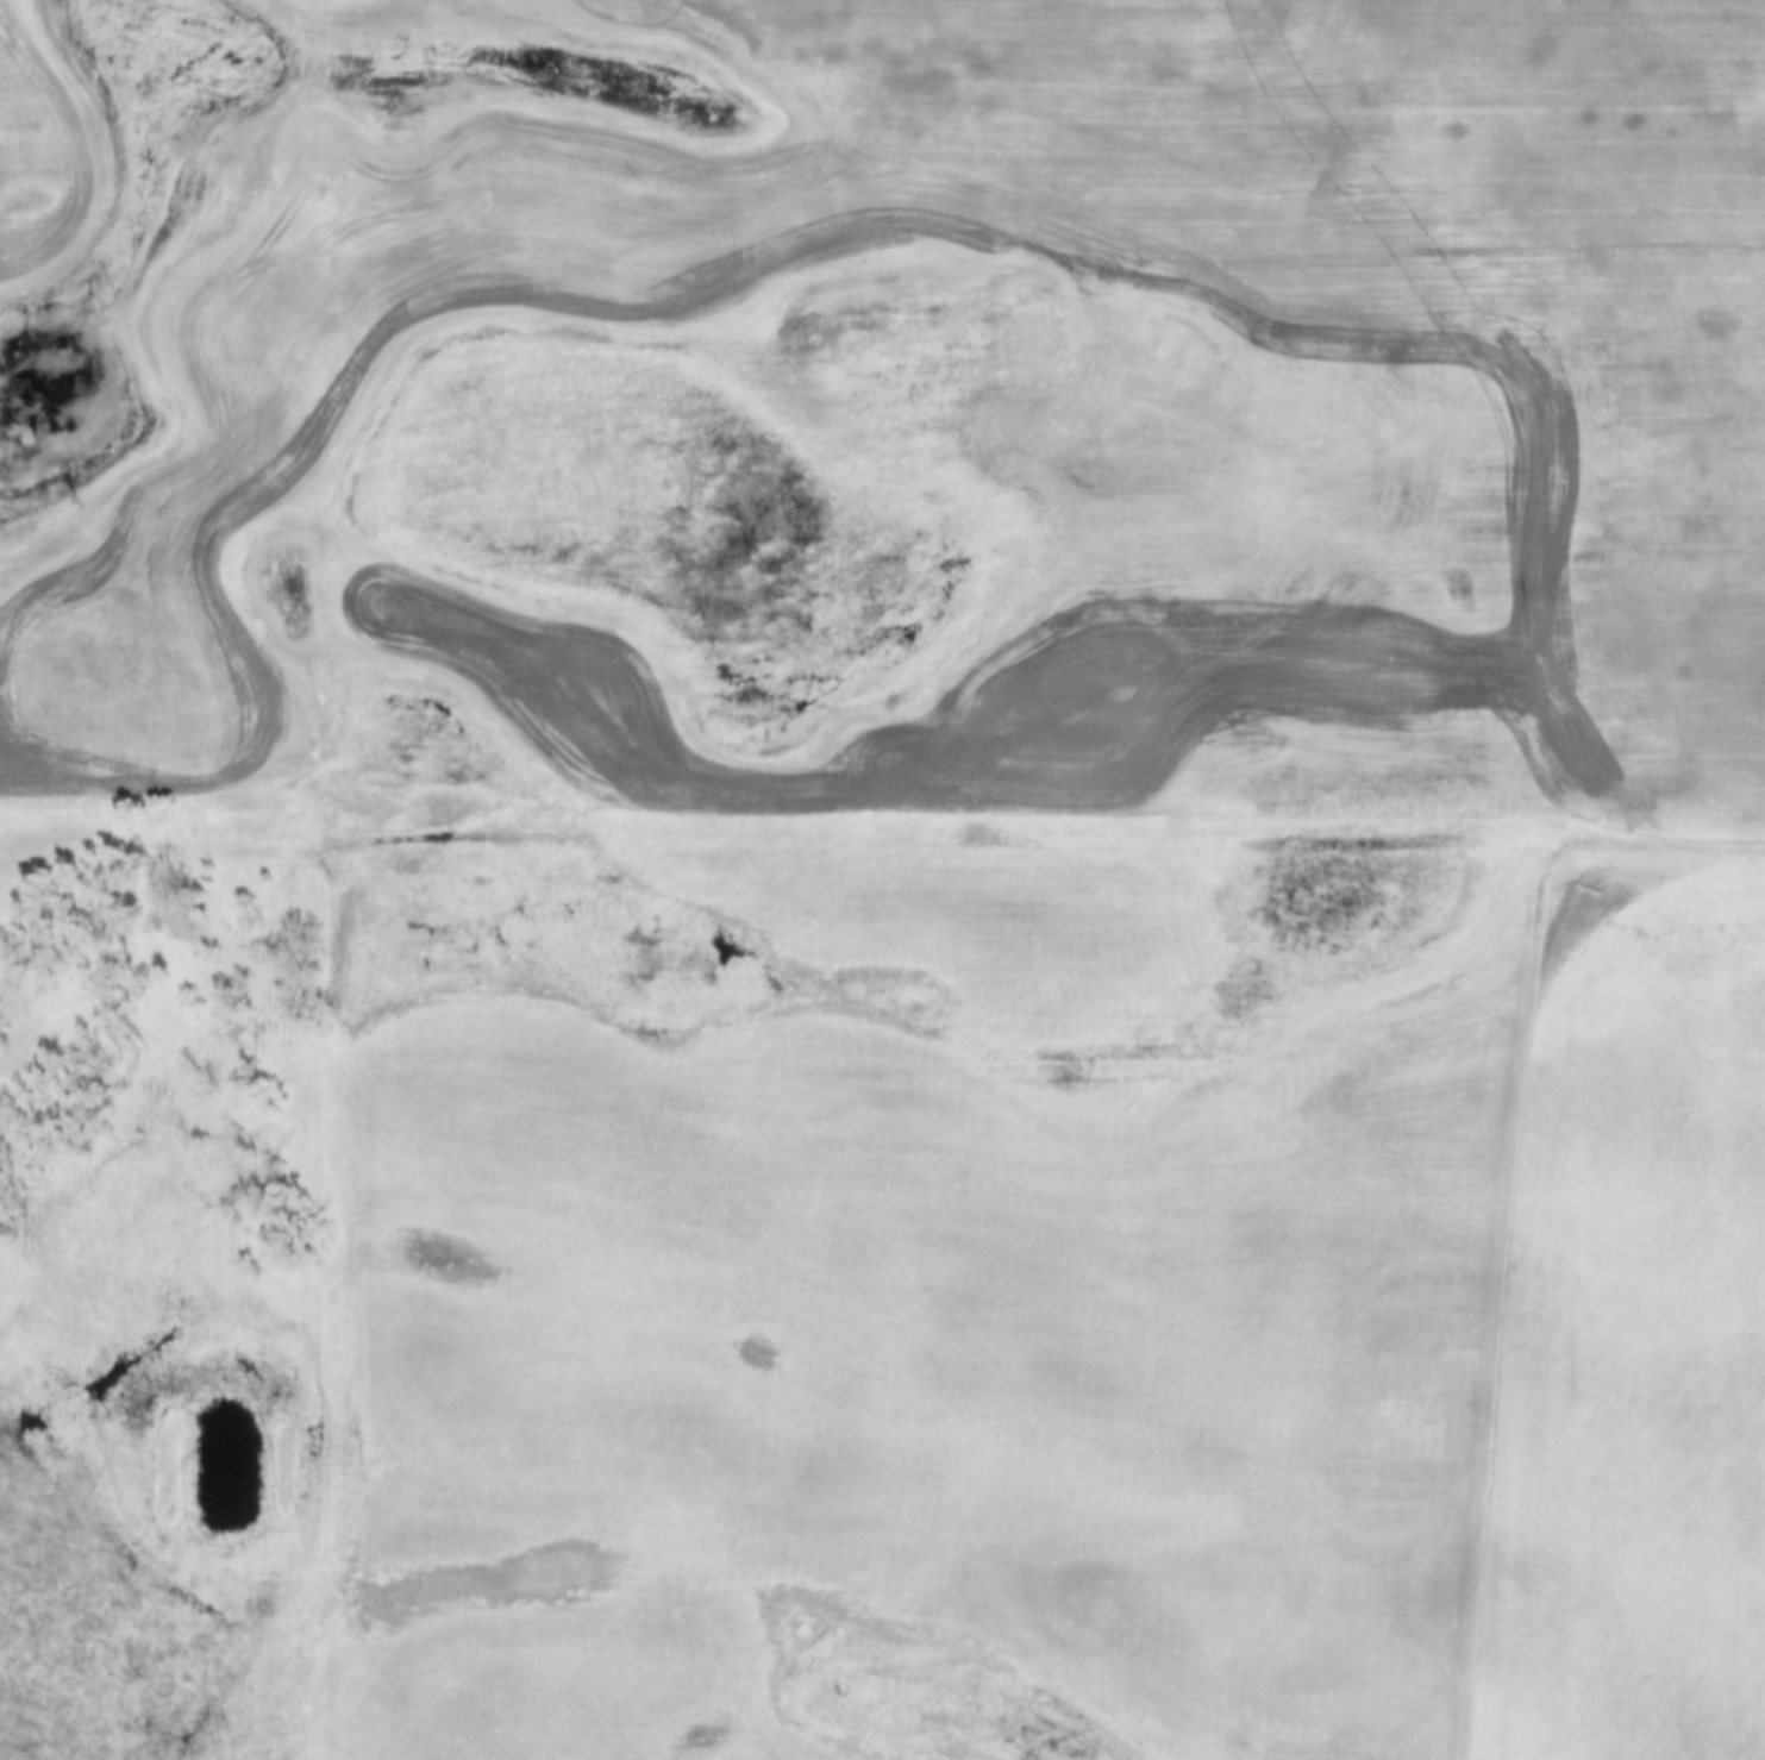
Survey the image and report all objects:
road: (871, 828)

